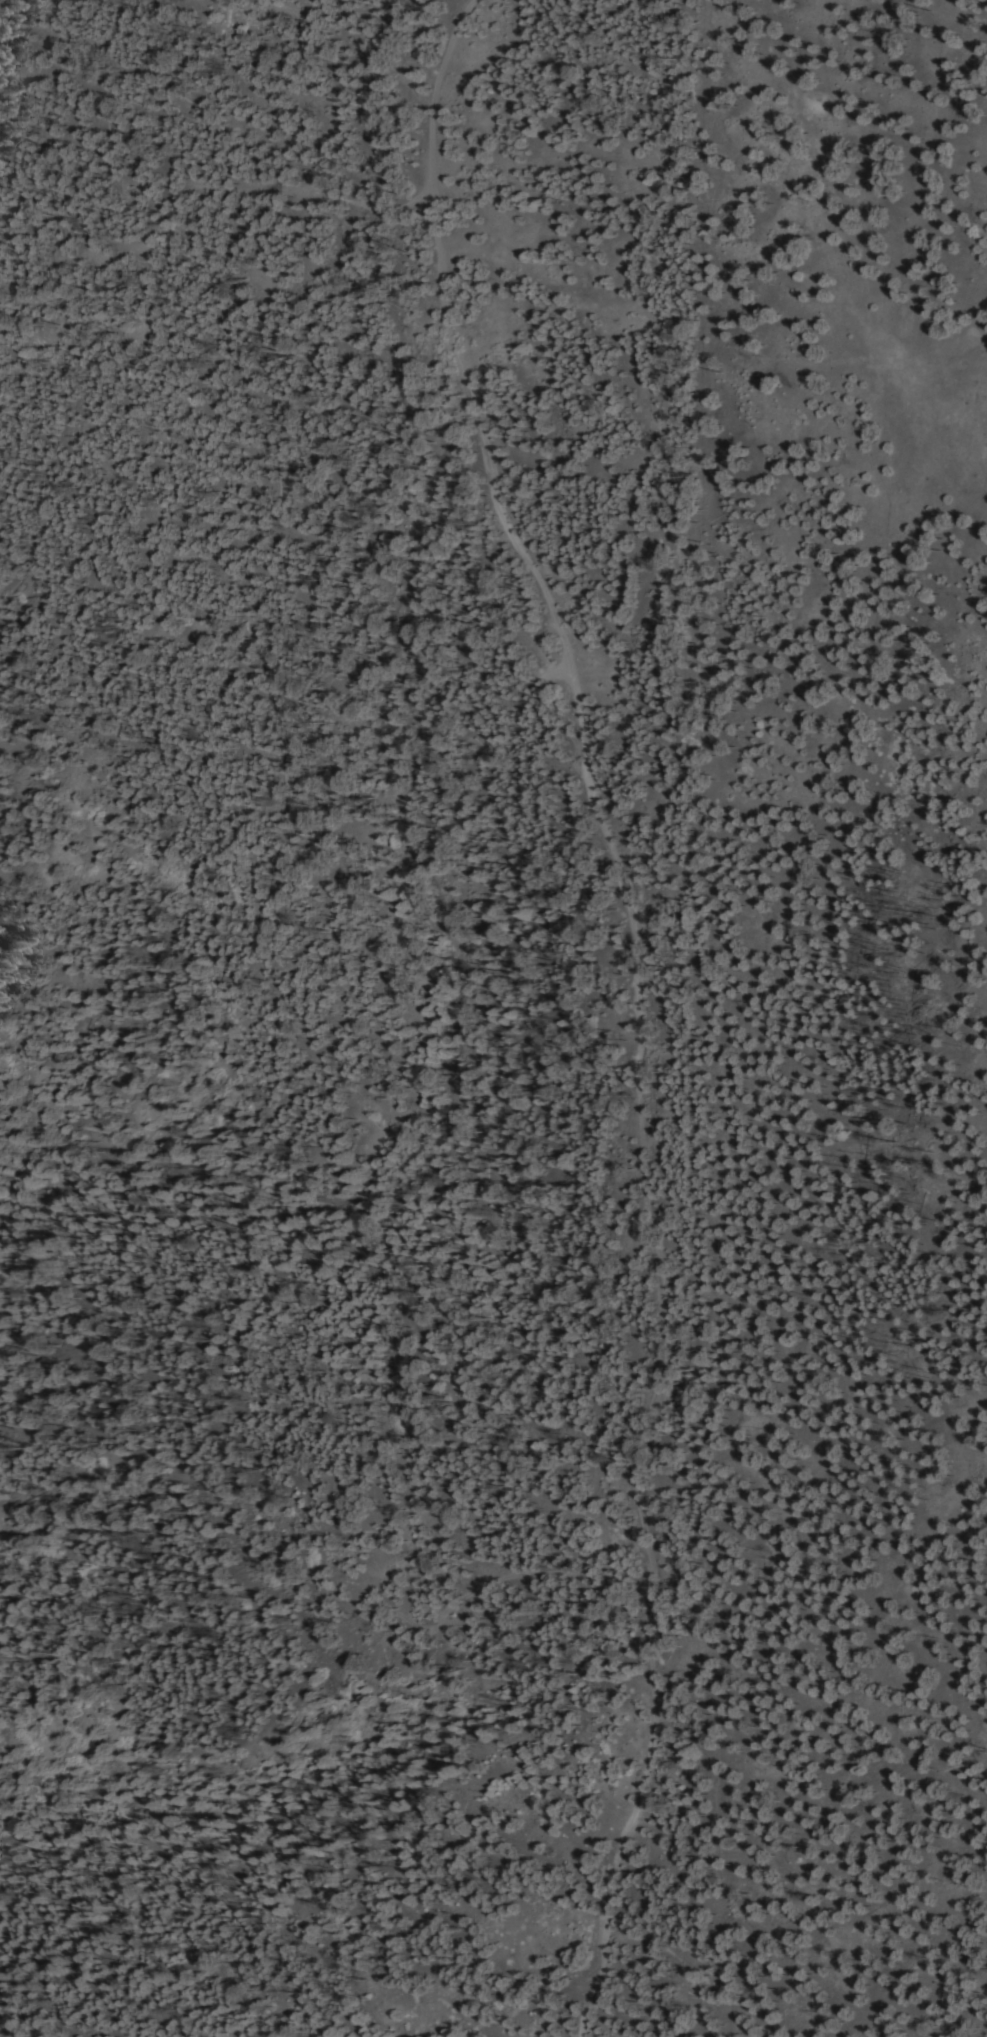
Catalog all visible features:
road: (606, 1000)

